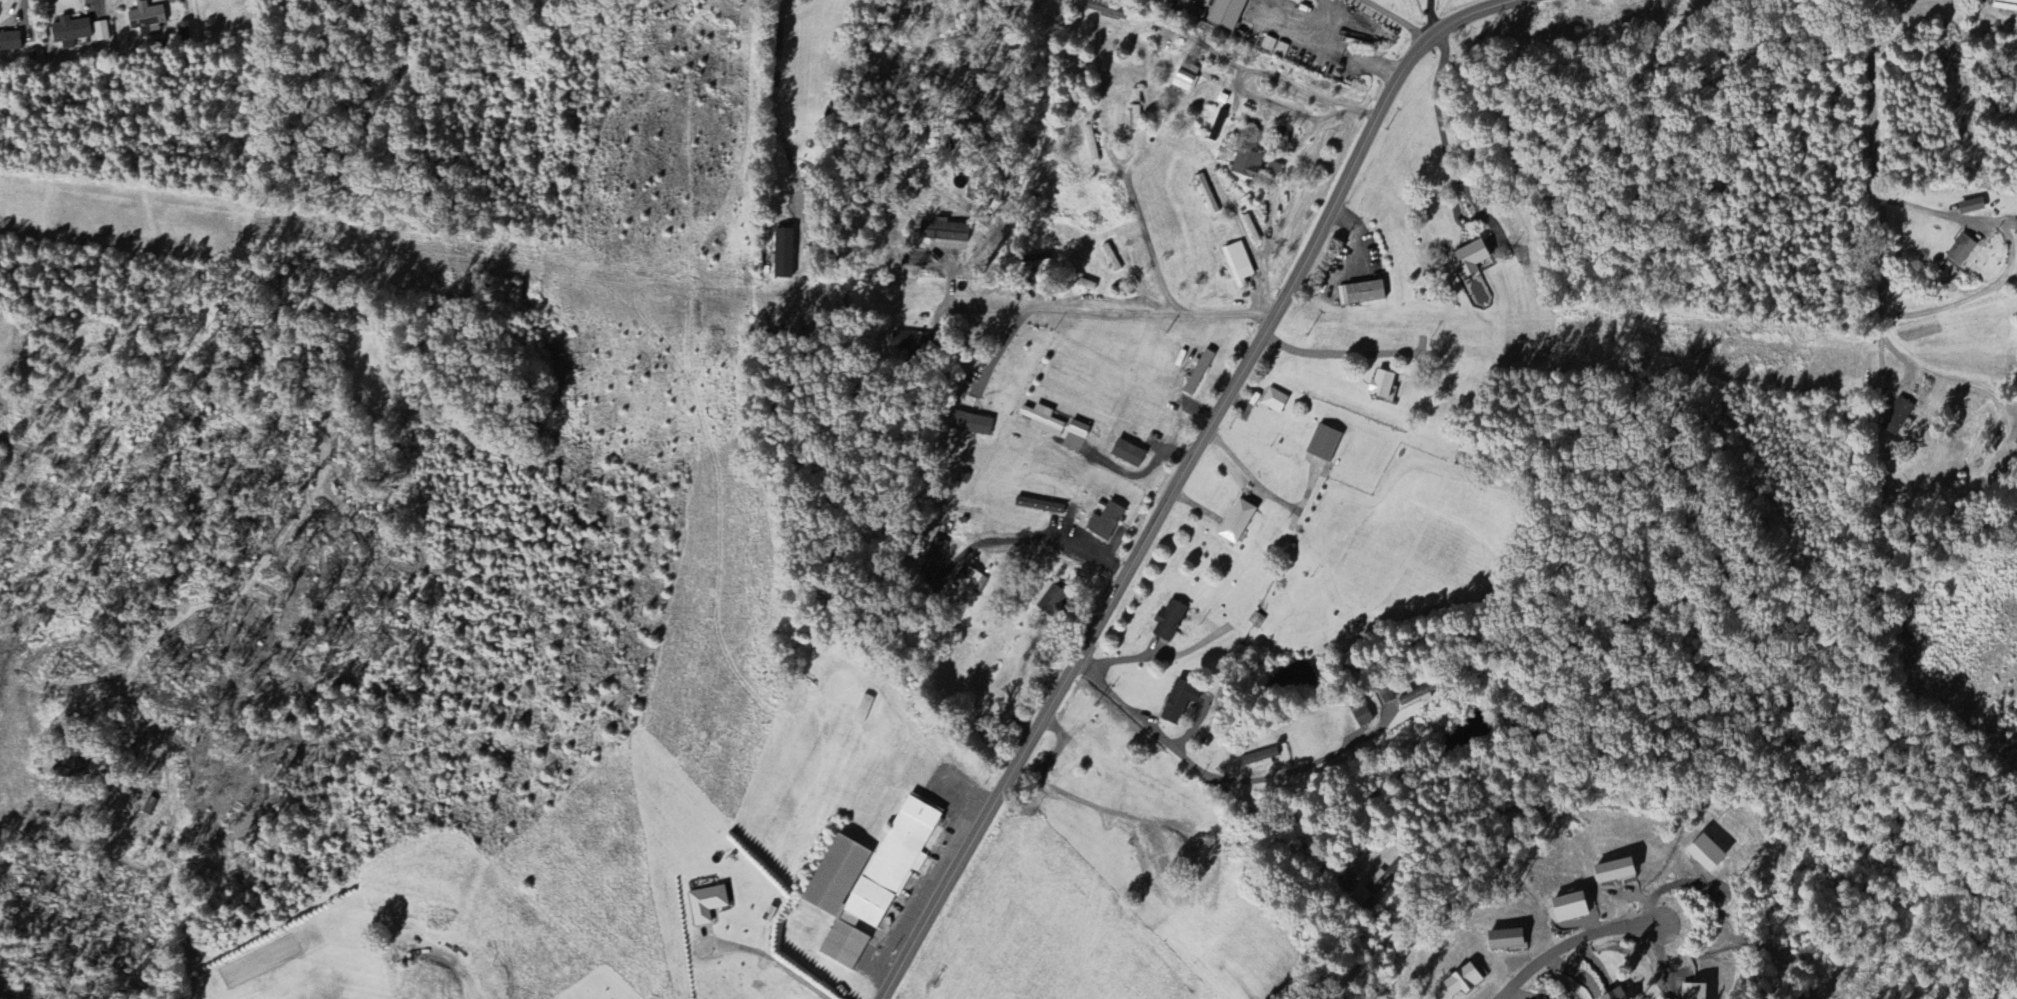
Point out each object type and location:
building: (2006, 2)
building: (1227, 14)
road: (1430, 16)
road: (1396, 18)
building: (146, 19)
road: (2005, 21)
building: (69, 32)
building: (101, 32)
building: (9, 43)
road: (1342, 54)
road: (771, 67)
building: (1186, 78)
road: (1276, 80)
road: (1275, 105)
building: (1217, 126)
building: (1281, 137)
road: (1868, 150)
building: (1247, 165)
building: (1274, 171)
building: (1971, 207)
building: (943, 232)
road: (1147, 242)
building: (1963, 253)
building: (783, 255)
building: (1470, 260)
building: (1238, 265)
road: (1264, 265)
building: (1361, 294)
road: (1927, 308)
road: (1105, 314)
building: (905, 341)
road: (1308, 352)
road: (1932, 372)
building: (1198, 373)
building: (1384, 385)
building: (1274, 401)
building: (1897, 417)
building: (1042, 421)
building: (971, 424)
building: (1324, 444)
building: (1127, 454)
road: (1138, 475)
road: (1180, 478)
road: (1262, 491)
building: (1039, 506)
building: (1105, 522)
building: (1237, 522)
road: (1101, 549)
building: (936, 553)
building: (967, 581)
building: (1050, 600)
building: (1169, 622)
building: (1387, 695)
building: (1416, 697)
building: (1178, 703)
building: (863, 710)
building: (1360, 714)
building: (1261, 758)
building: (67, 768)
road: (1293, 770)
road: (1207, 782)
road: (52, 810)
road: (80, 845)
building: (1706, 853)
building: (1615, 870)
building: (869, 879)
building: (1361, 895)
building: (706, 904)
building: (1570, 907)
building: (1506, 939)
road: (1568, 940)
road: (775, 961)
building: (1463, 981)
building: (1694, 991)
building: (1616, 994)

